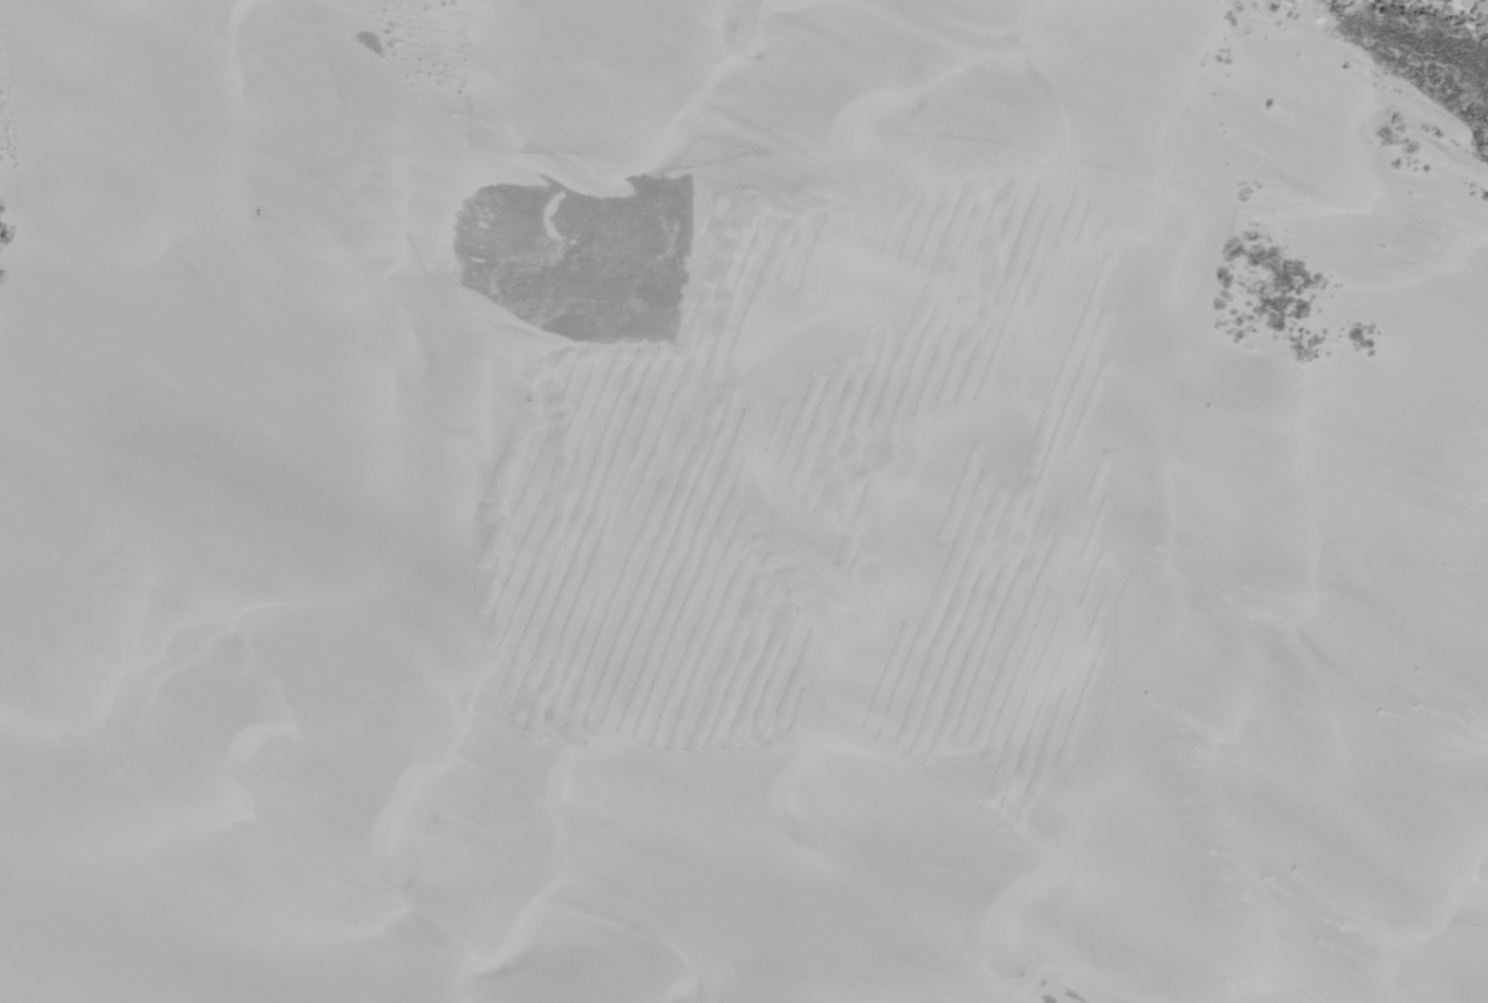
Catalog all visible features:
road: (8, 0)
road: (246, 20)
road: (307, 504)
park: (587, 526)

